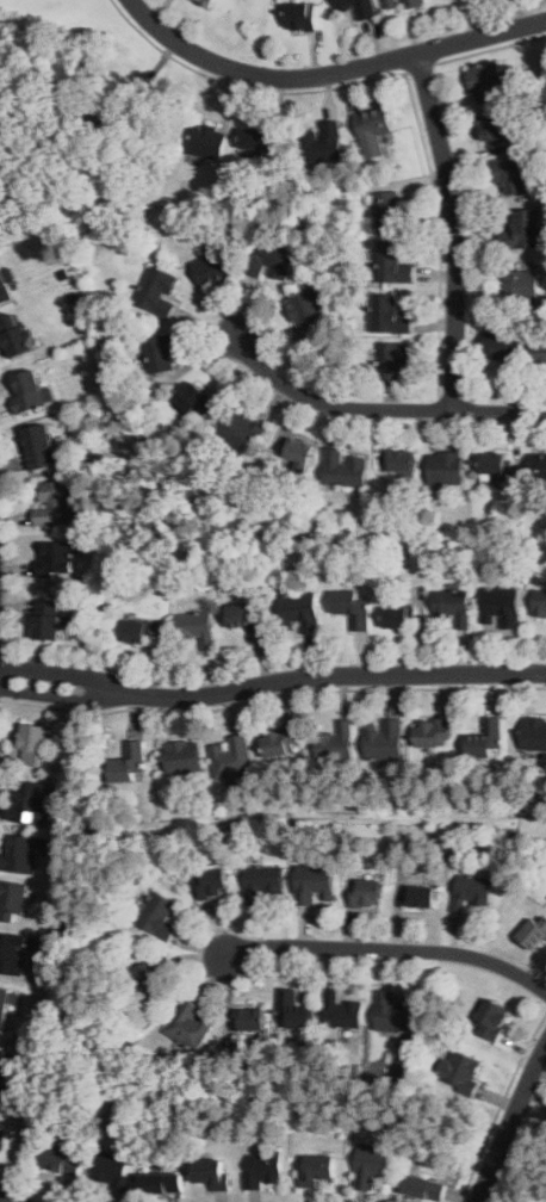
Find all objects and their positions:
building: (209, 2)
building: (402, 4)
building: (359, 7)
building: (303, 16)
road: (491, 48)
road: (418, 68)
road: (330, 73)
building: (486, 81)
road: (407, 83)
building: (374, 123)
building: (492, 129)
building: (256, 140)
building: (210, 142)
building: (323, 143)
building: (509, 174)
building: (389, 209)
road: (457, 229)
building: (525, 230)
building: (0, 241)
building: (271, 260)
building: (395, 262)
building: (212, 268)
building: (521, 285)
building: (4, 286)
building: (159, 291)
building: (308, 310)
building: (390, 315)
building: (15, 335)
building: (505, 348)
building: (161, 353)
building: (540, 355)
building: (393, 359)
building: (29, 391)
building: (196, 401)
road: (379, 409)
building: (242, 429)
building: (39, 446)
building: (298, 453)
building: (401, 461)
building: (495, 463)
building: (540, 466)
building: (346, 469)
building: (446, 469)
building: (55, 503)
building: (56, 559)
building: (539, 602)
building: (454, 603)
building: (502, 607)
building: (353, 608)
building: (300, 612)
building: (399, 618)
building: (48, 620)
building: (249, 620)
building: (197, 628)
building: (137, 632)
road: (272, 683)
building: (435, 733)
building: (534, 733)
building: (384, 739)
building: (486, 739)
building: (336, 742)
building: (281, 743)
building: (35, 745)
building: (184, 757)
building: (232, 757)
building: (130, 764)
building: (31, 803)
building: (21, 854)
building: (263, 881)
building: (213, 884)
building: (315, 884)
building: (472, 892)
building: (368, 893)
building: (421, 897)
building: (13, 899)
building: (162, 916)
building: (535, 935)
road: (390, 949)
building: (14, 953)
building: (151, 978)
building: (6, 1004)
building: (294, 1010)
building: (343, 1010)
building: (393, 1011)
building: (252, 1020)
building: (494, 1020)
building: (191, 1024)
building: (2, 1061)
building: (461, 1068)
road: (510, 1124)
building: (61, 1161)
building: (372, 1165)
building: (114, 1170)
building: (266, 1170)
building: (317, 1170)
building: (212, 1172)
building: (162, 1183)
building: (424, 1189)

